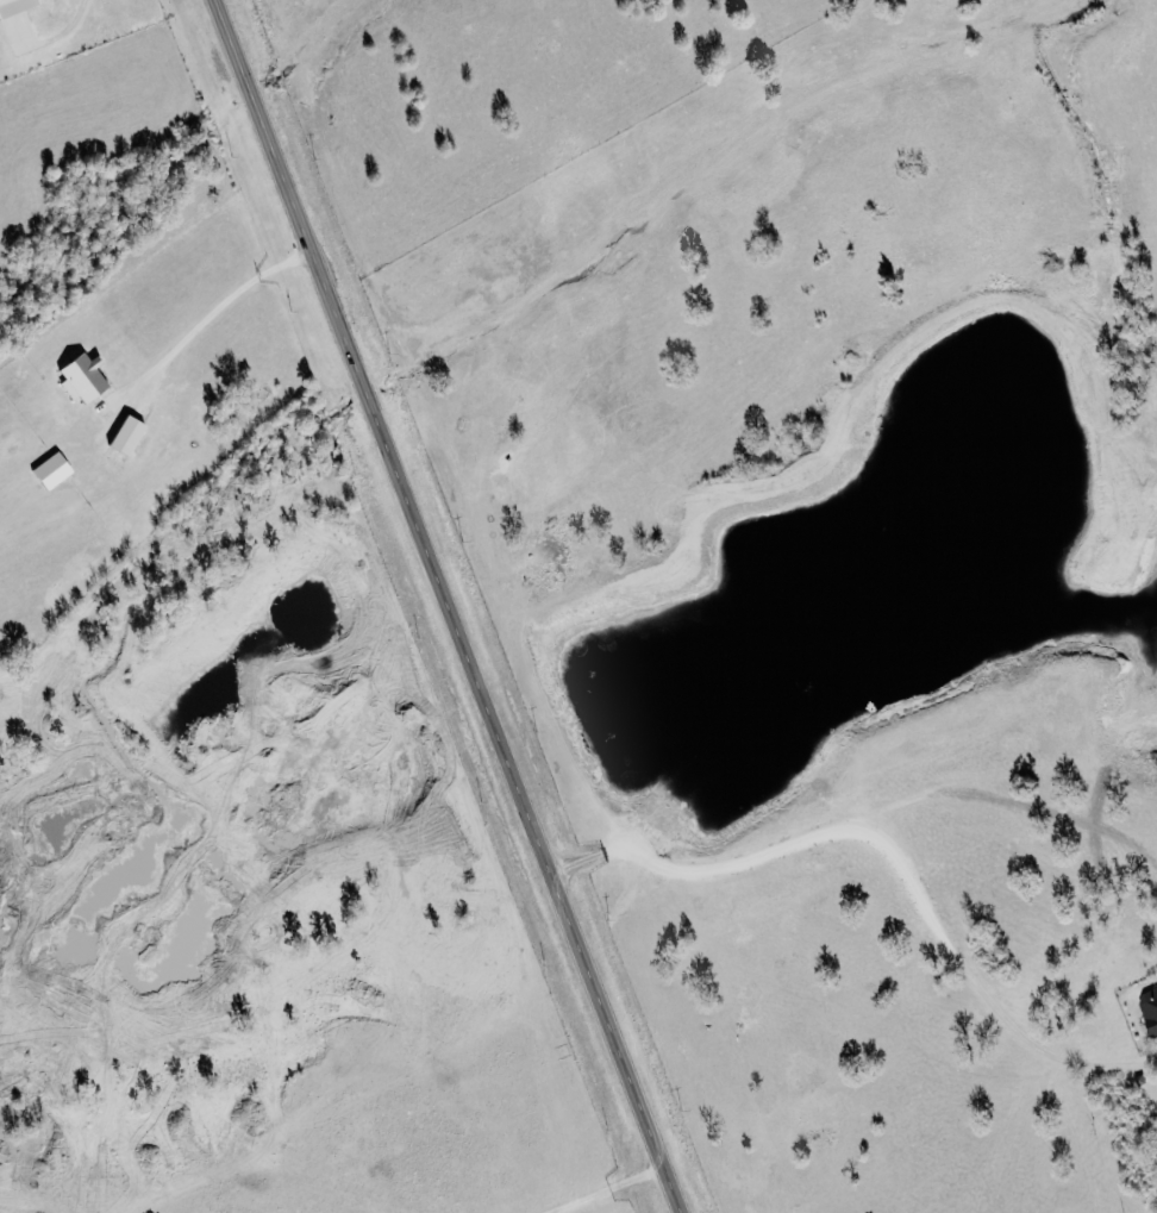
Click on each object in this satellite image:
building: (15, 8)
building: (86, 377)
building: (130, 434)
road: (450, 606)
building: (1151, 1008)

